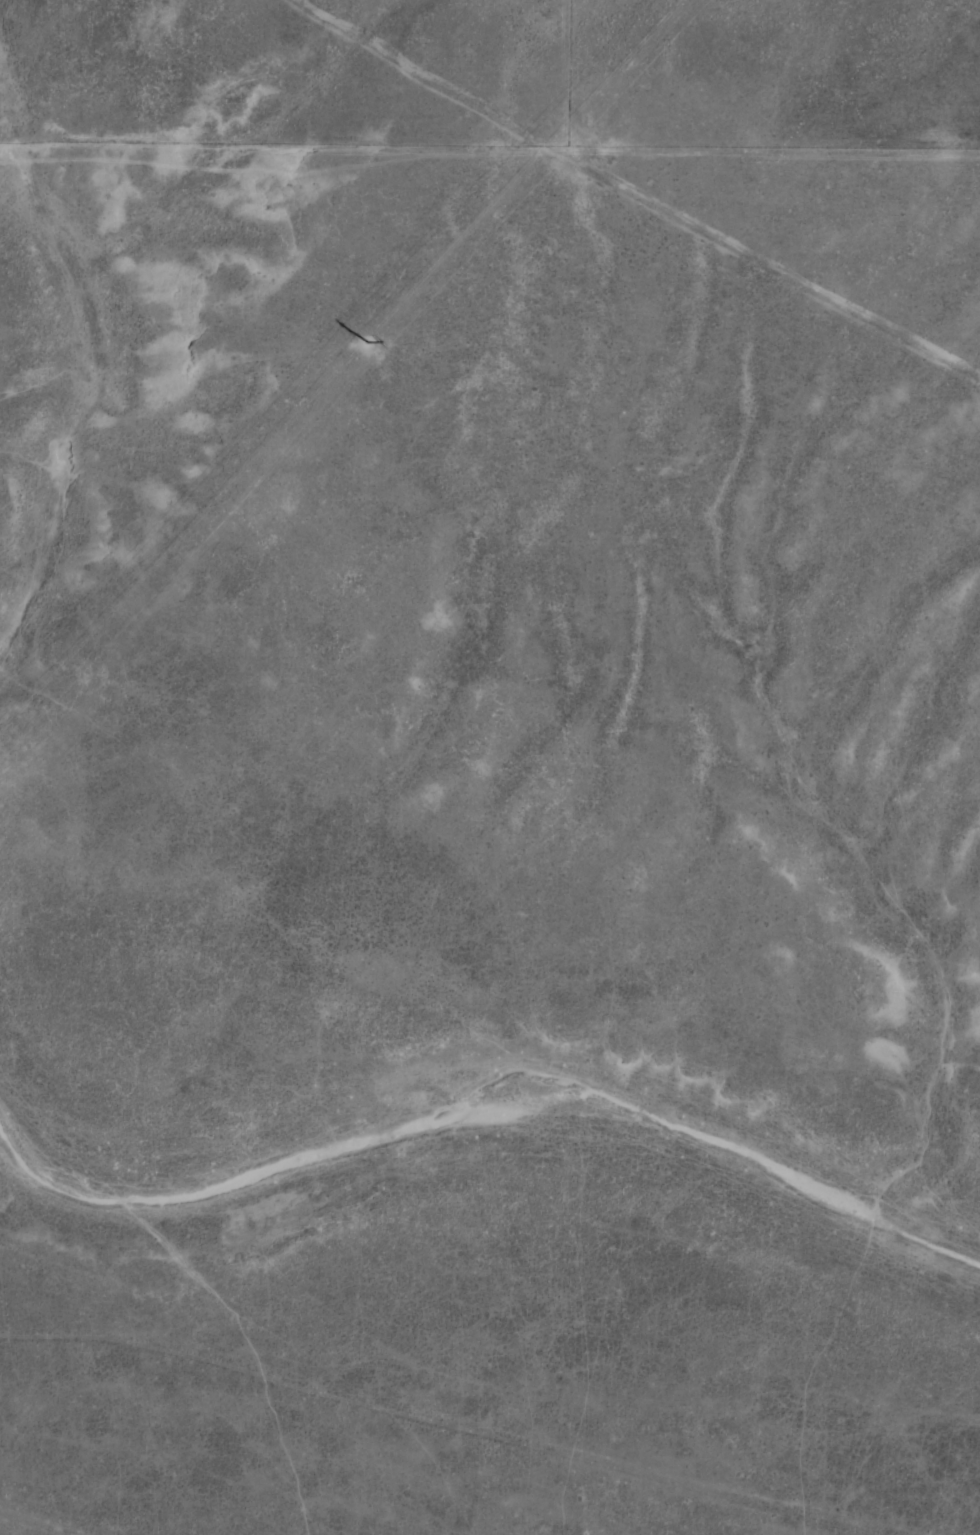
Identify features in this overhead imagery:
power tower: (366, 344)
road: (190, 1468)

